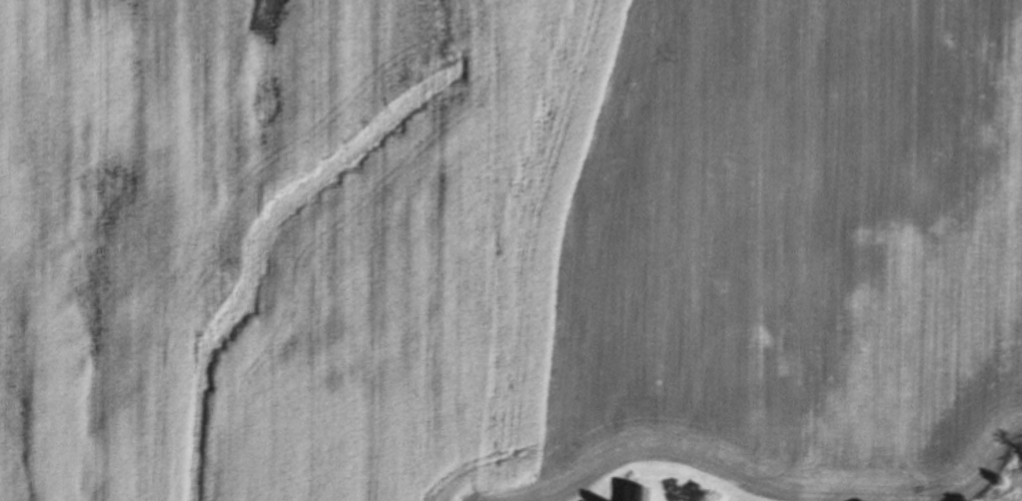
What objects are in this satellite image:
building: (627, 495)

